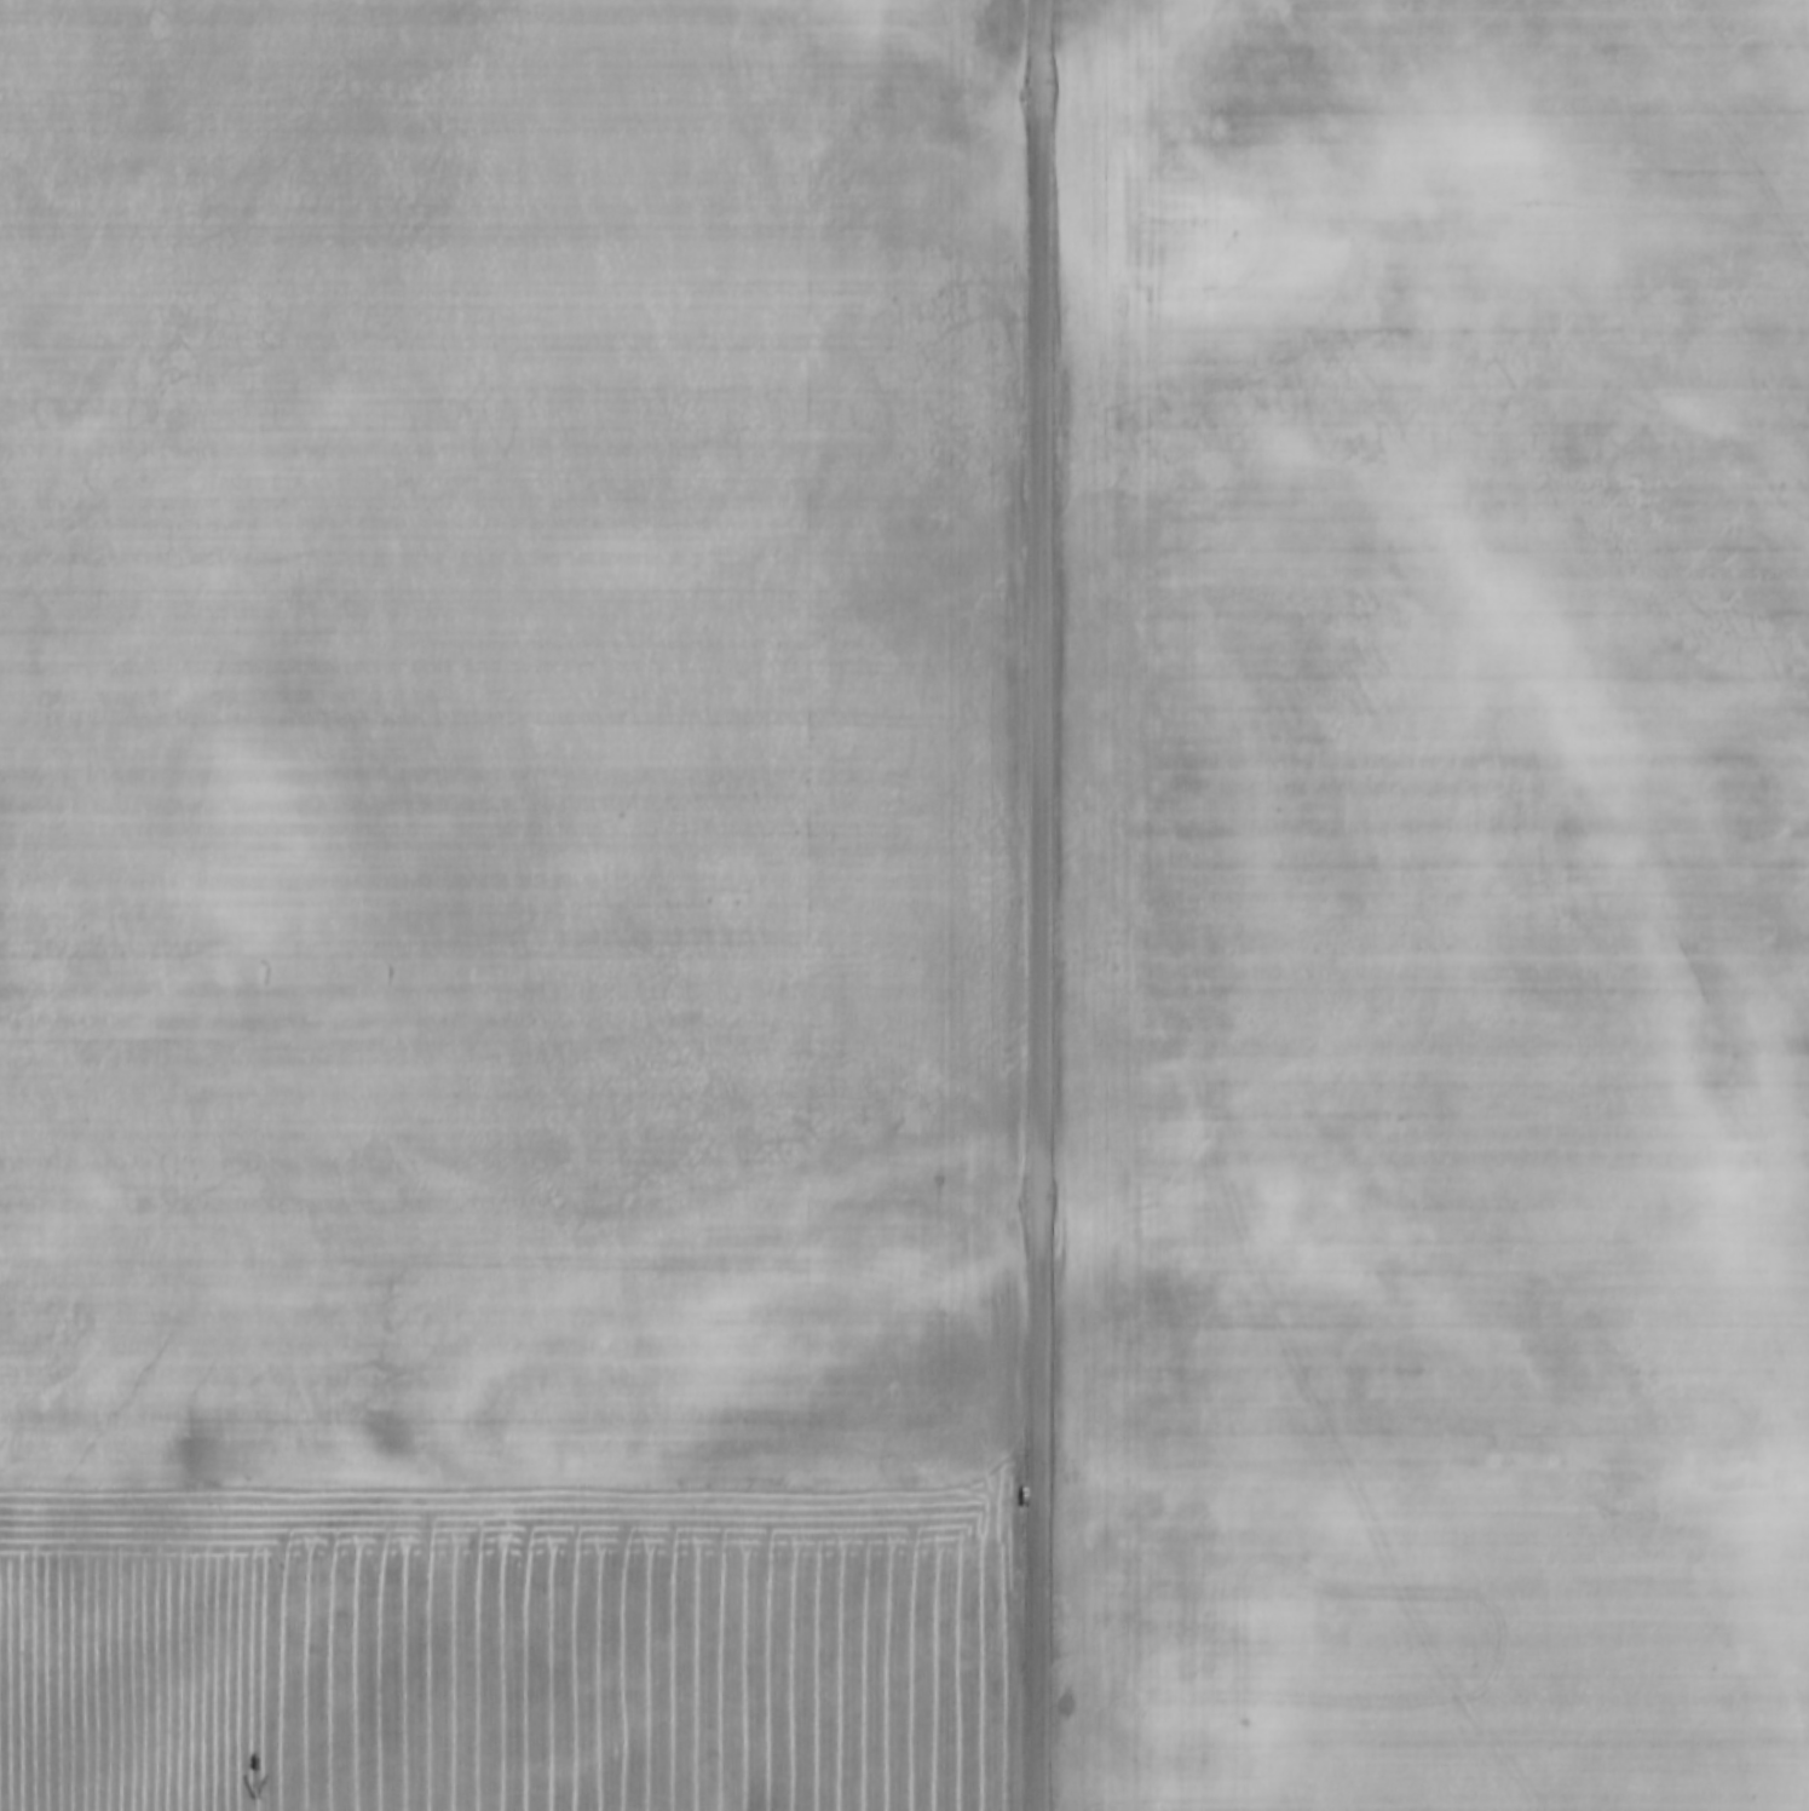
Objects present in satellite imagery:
road: (1042, 904)

